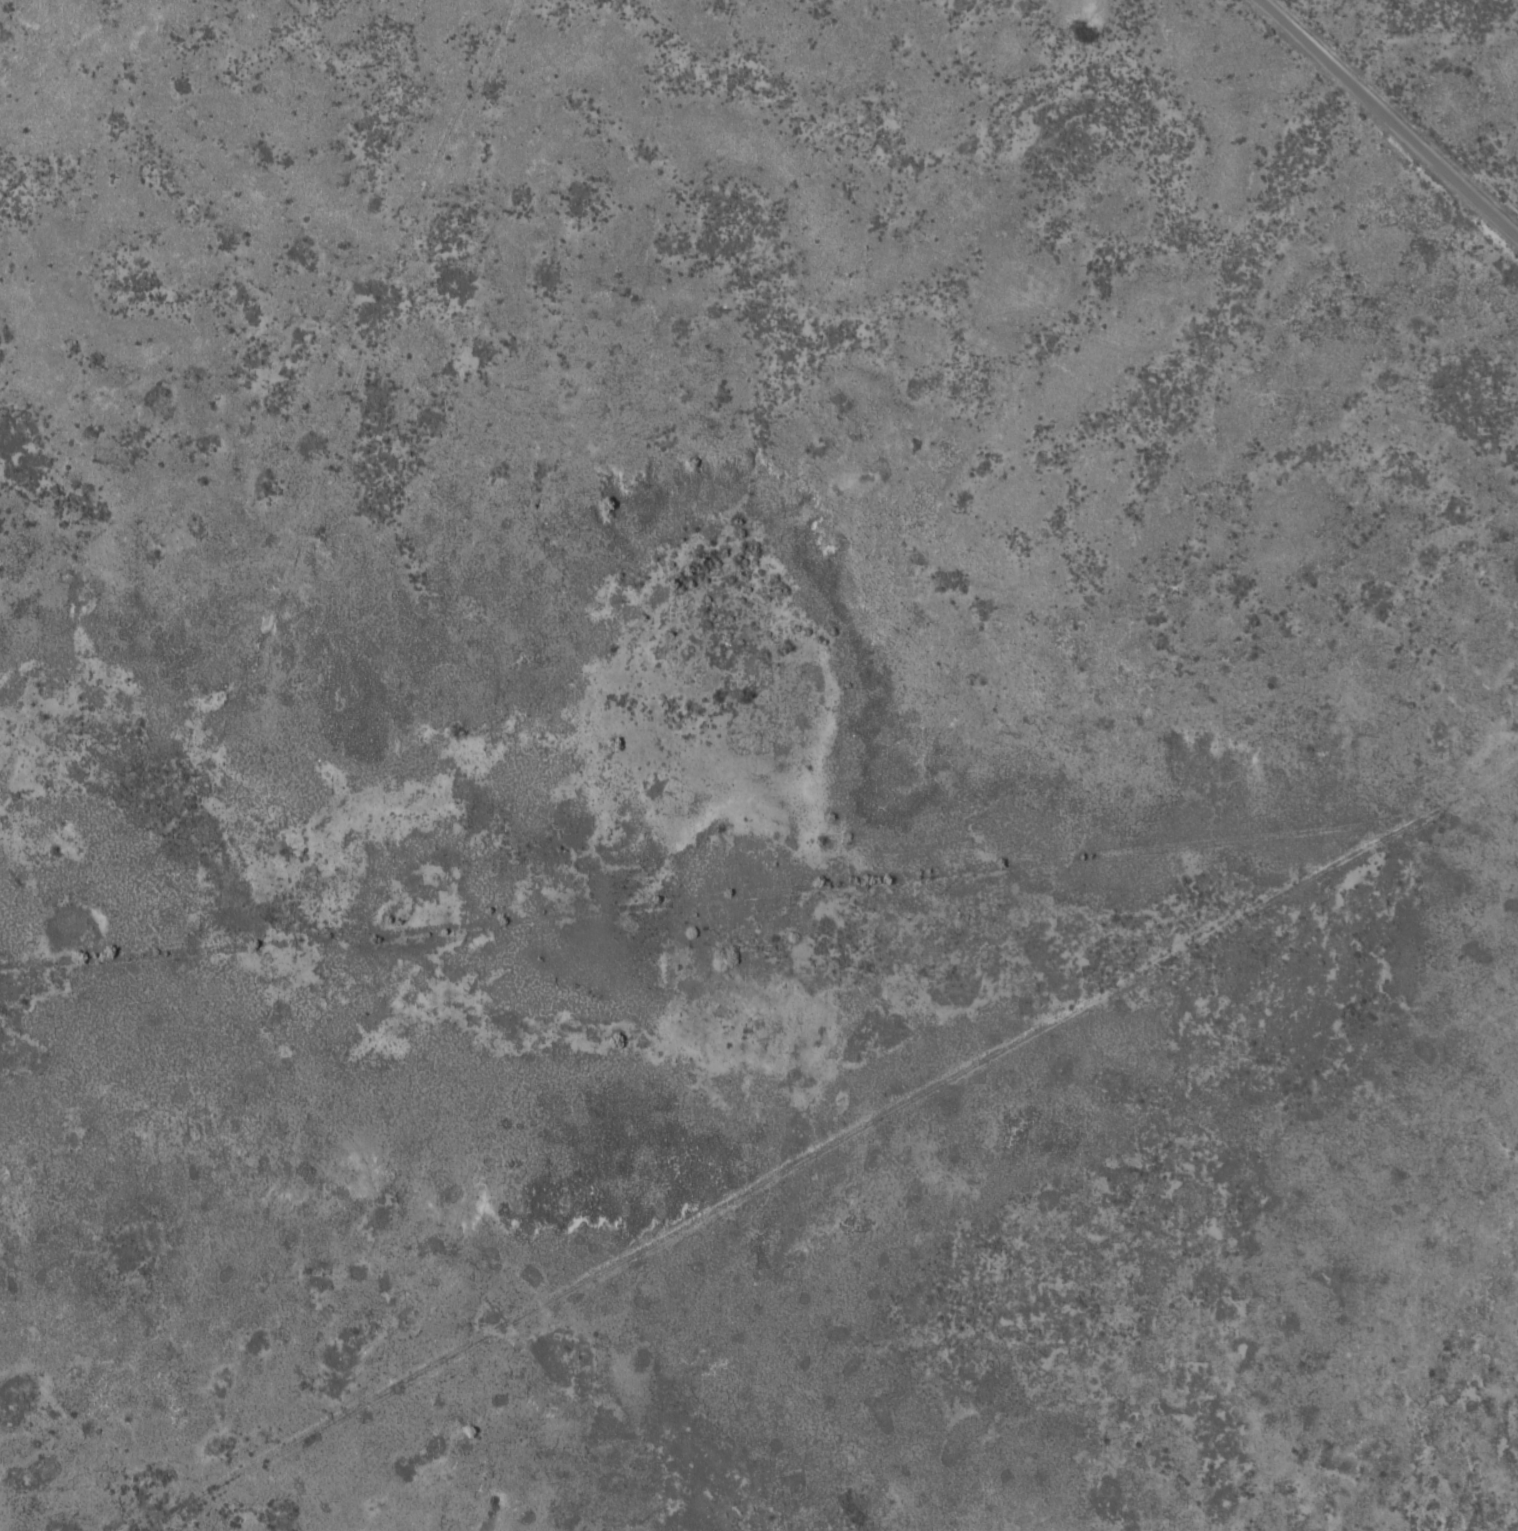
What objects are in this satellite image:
road: (1394, 113)

